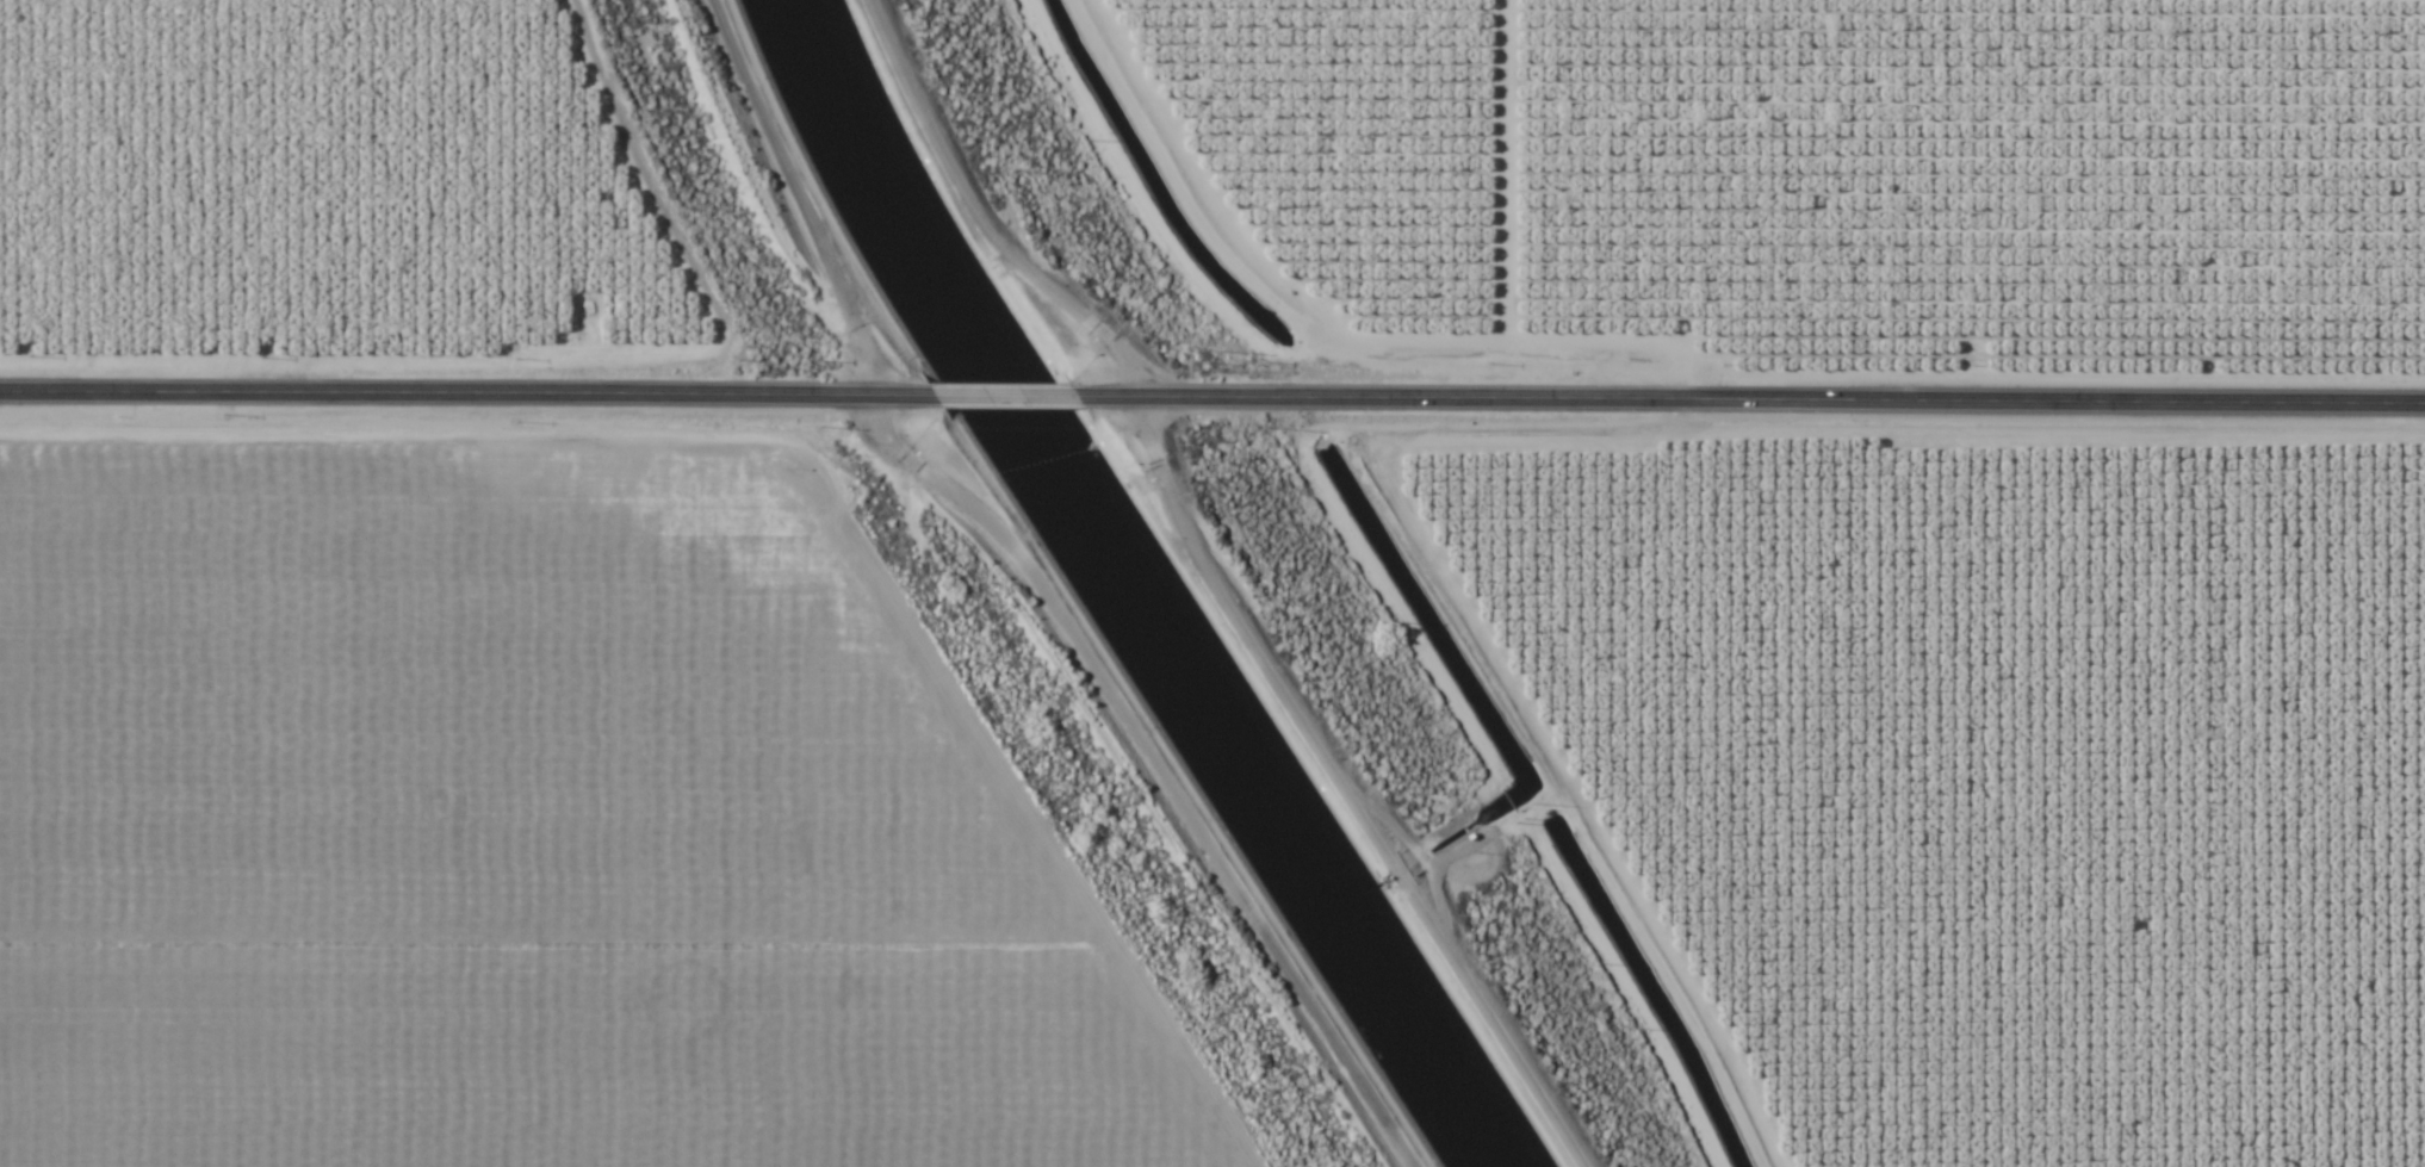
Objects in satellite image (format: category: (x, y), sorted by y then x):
crop: (1757, 182)
road: (748, 210)
road: (1319, 322)
road: (464, 393)
road: (1003, 395)
road: (1379, 396)
road: (2053, 401)
crop: (1912, 519)
road: (1266, 582)
crop: (472, 659)
road: (1134, 770)
crop: (1979, 776)

